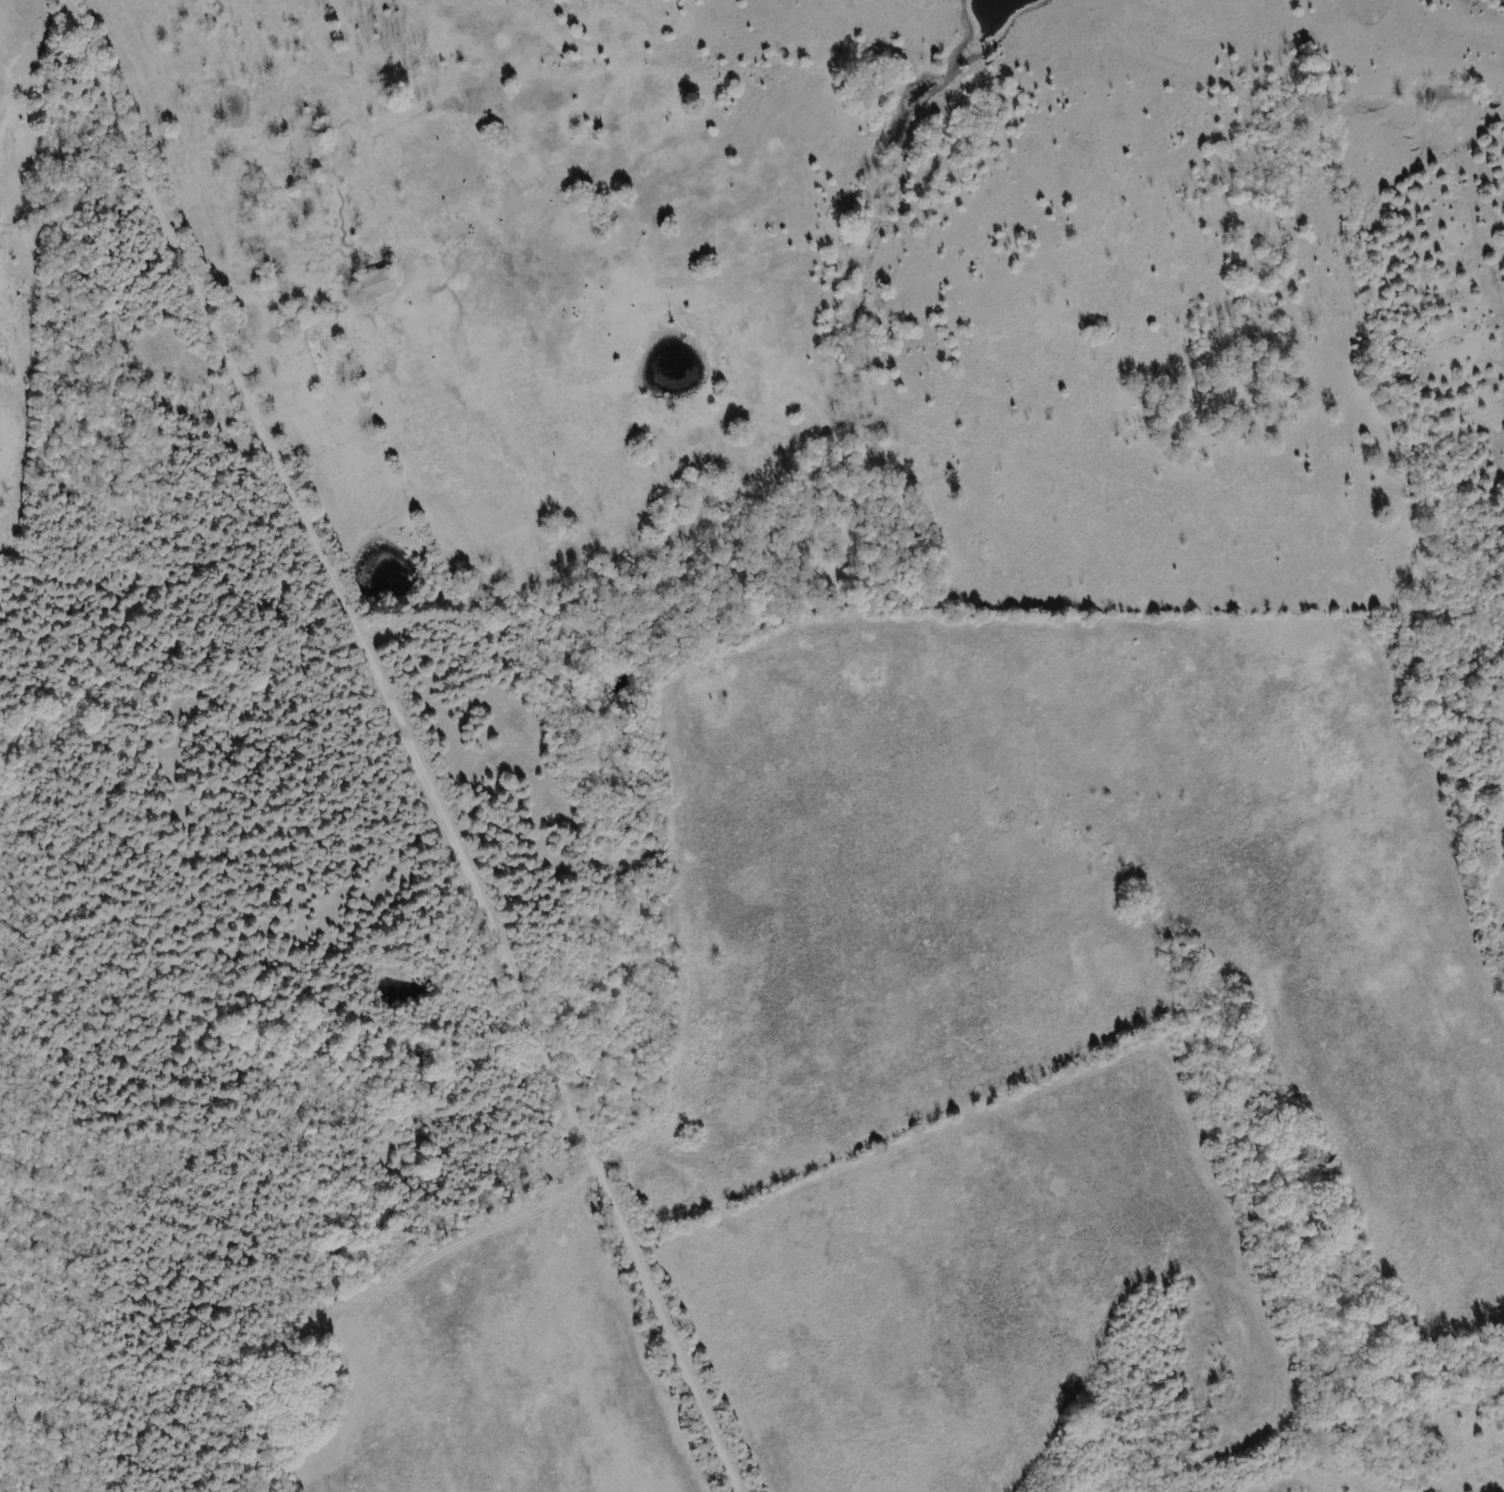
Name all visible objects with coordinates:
building: (378, 283)
road: (387, 746)

